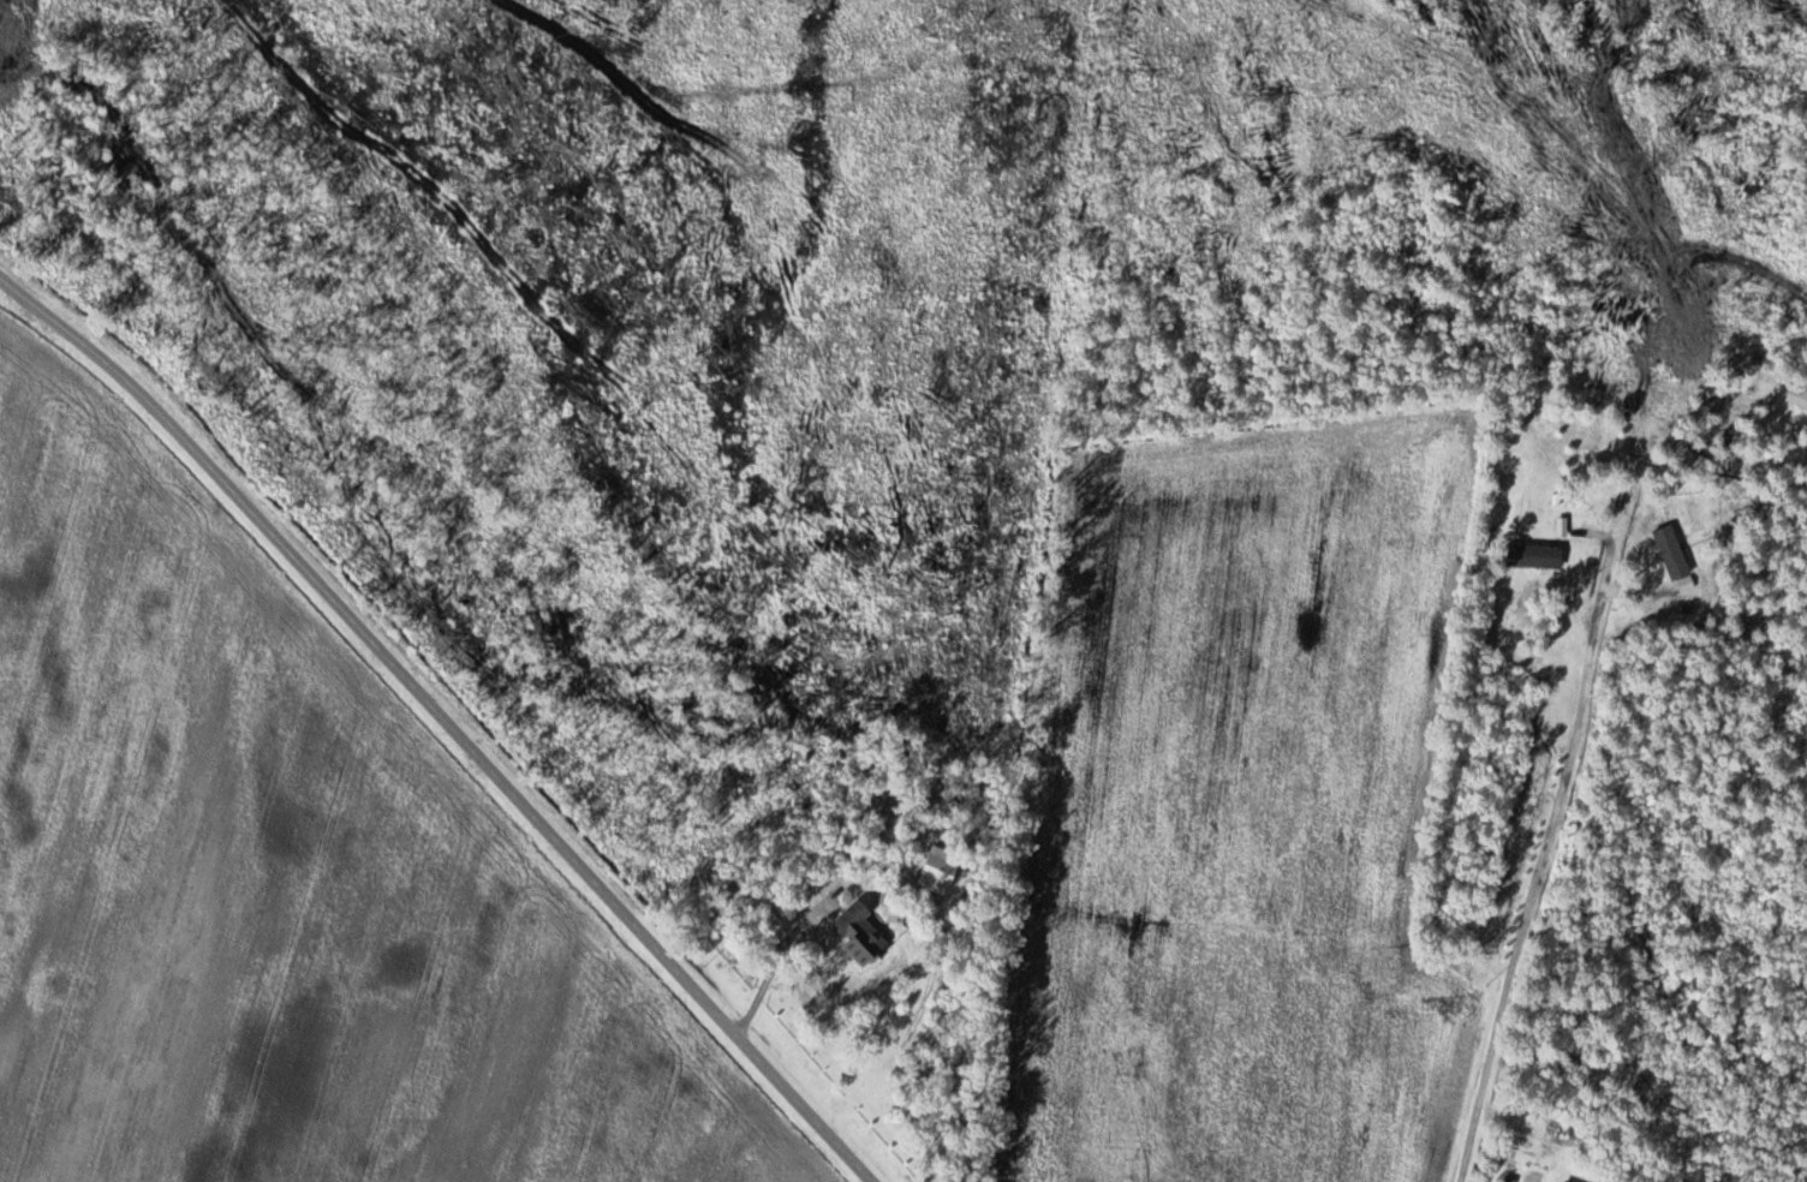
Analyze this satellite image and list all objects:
building: (1534, 556)
road: (445, 721)
building: (940, 870)
building: (859, 935)
building: (1532, 1175)

